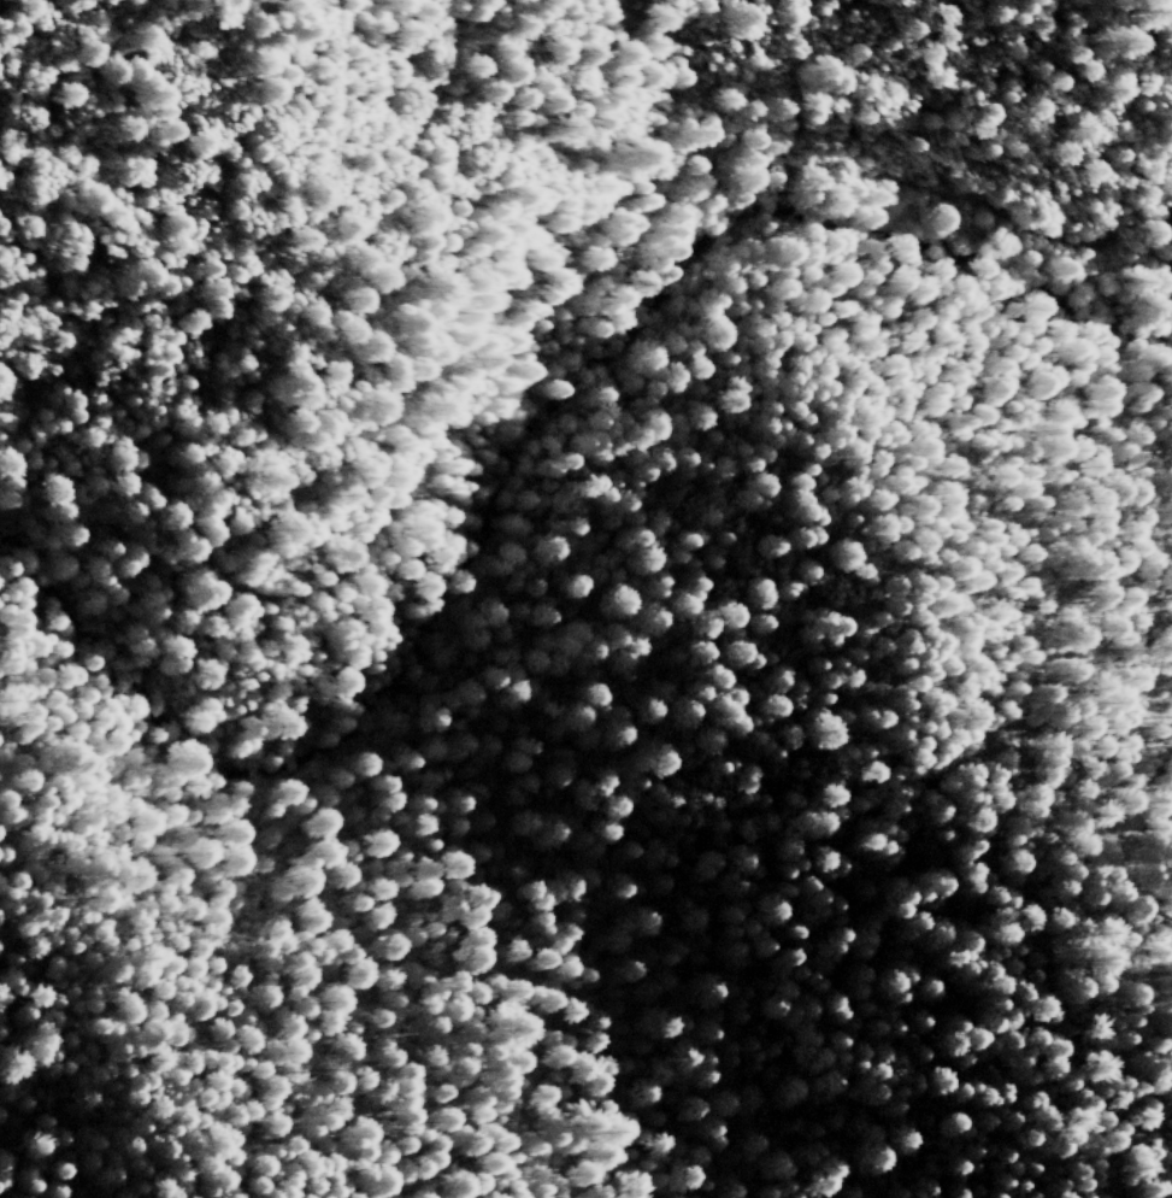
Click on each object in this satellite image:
road: (499, 135)
road: (641, 196)
road: (128, 311)

